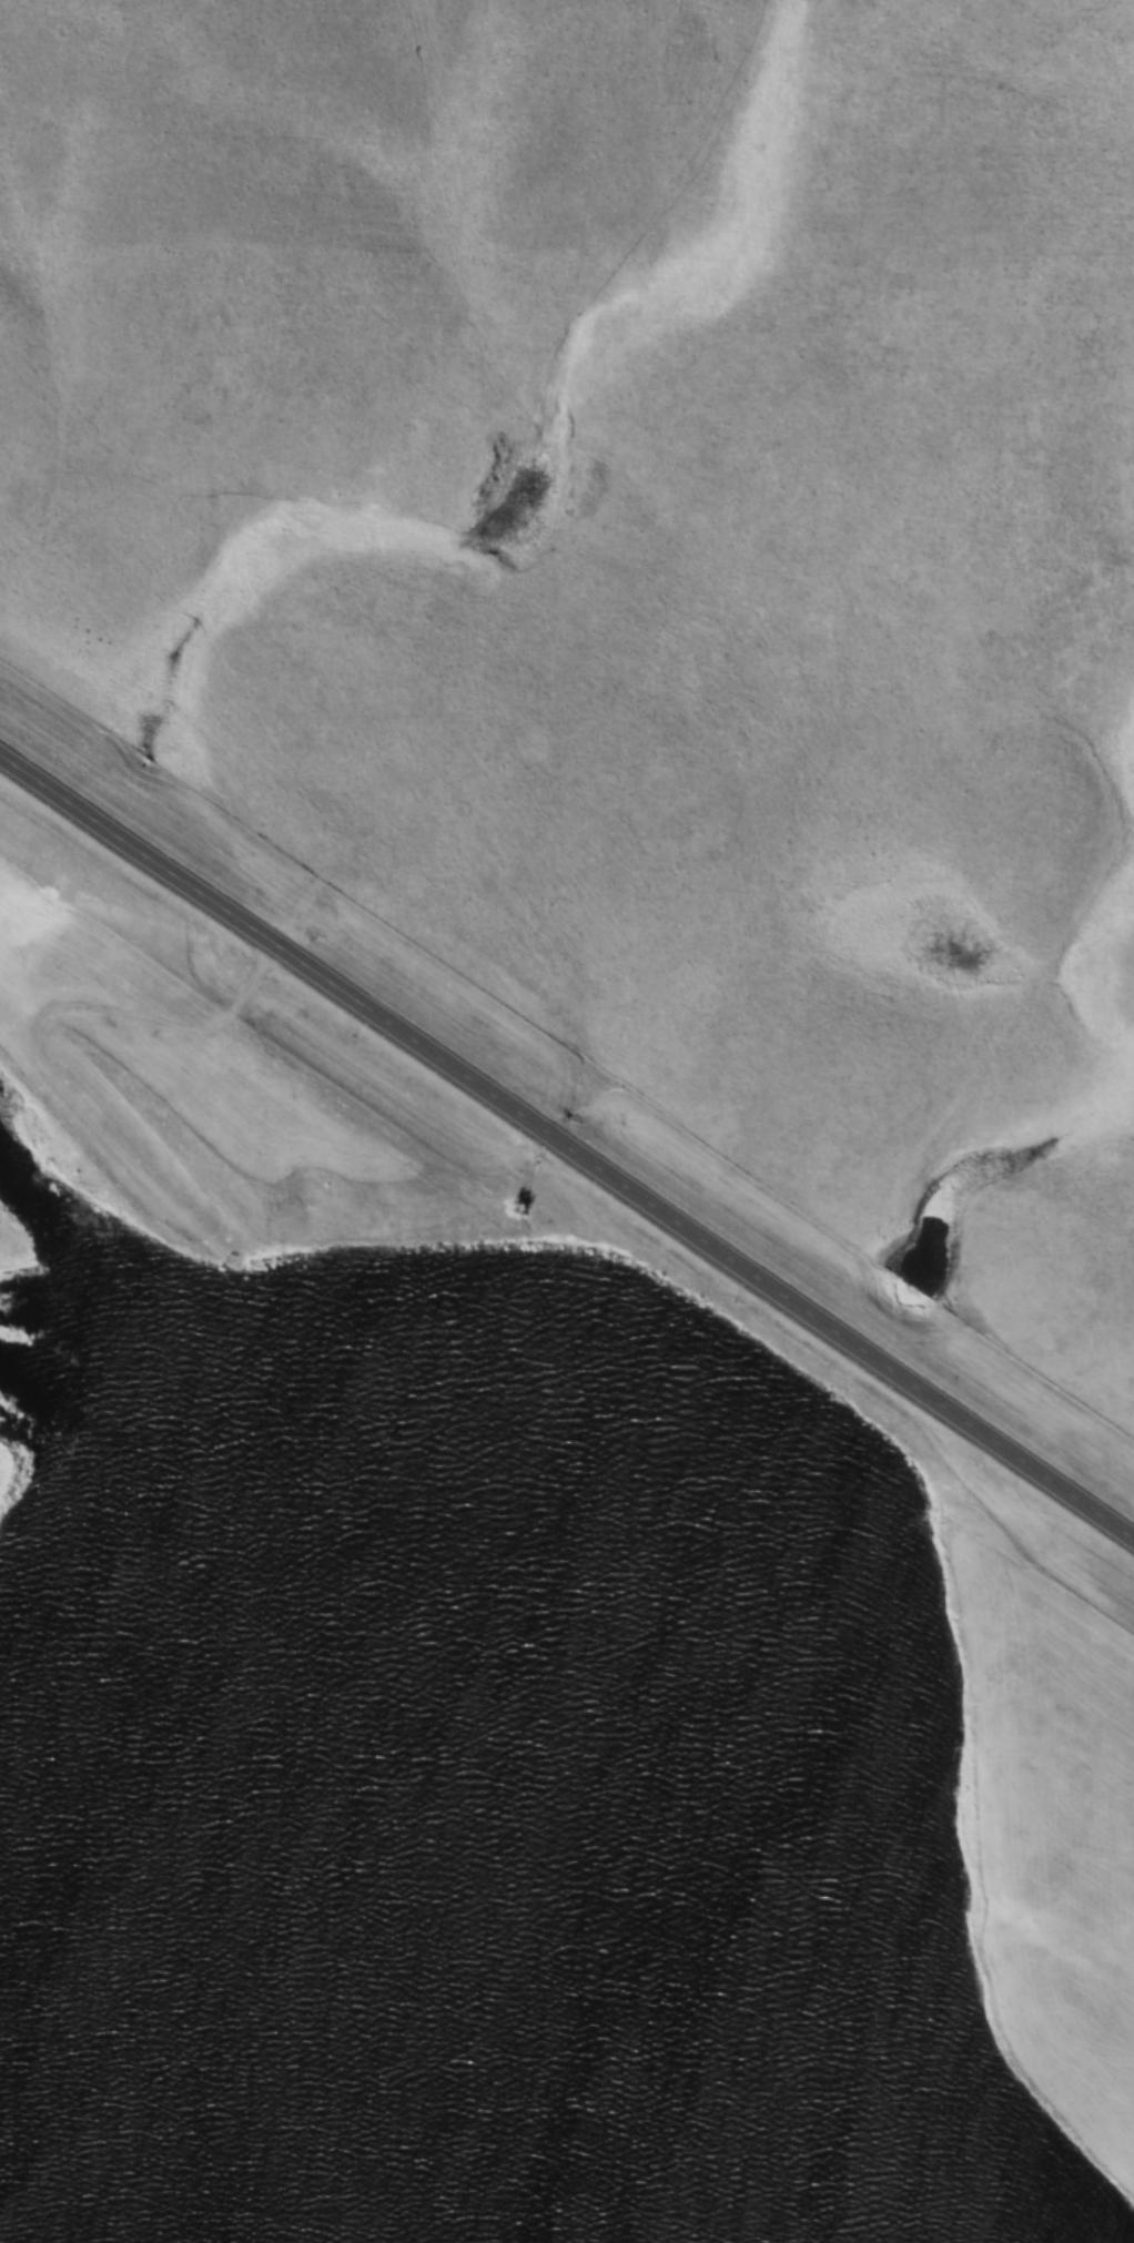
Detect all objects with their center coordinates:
road: (567, 1147)

